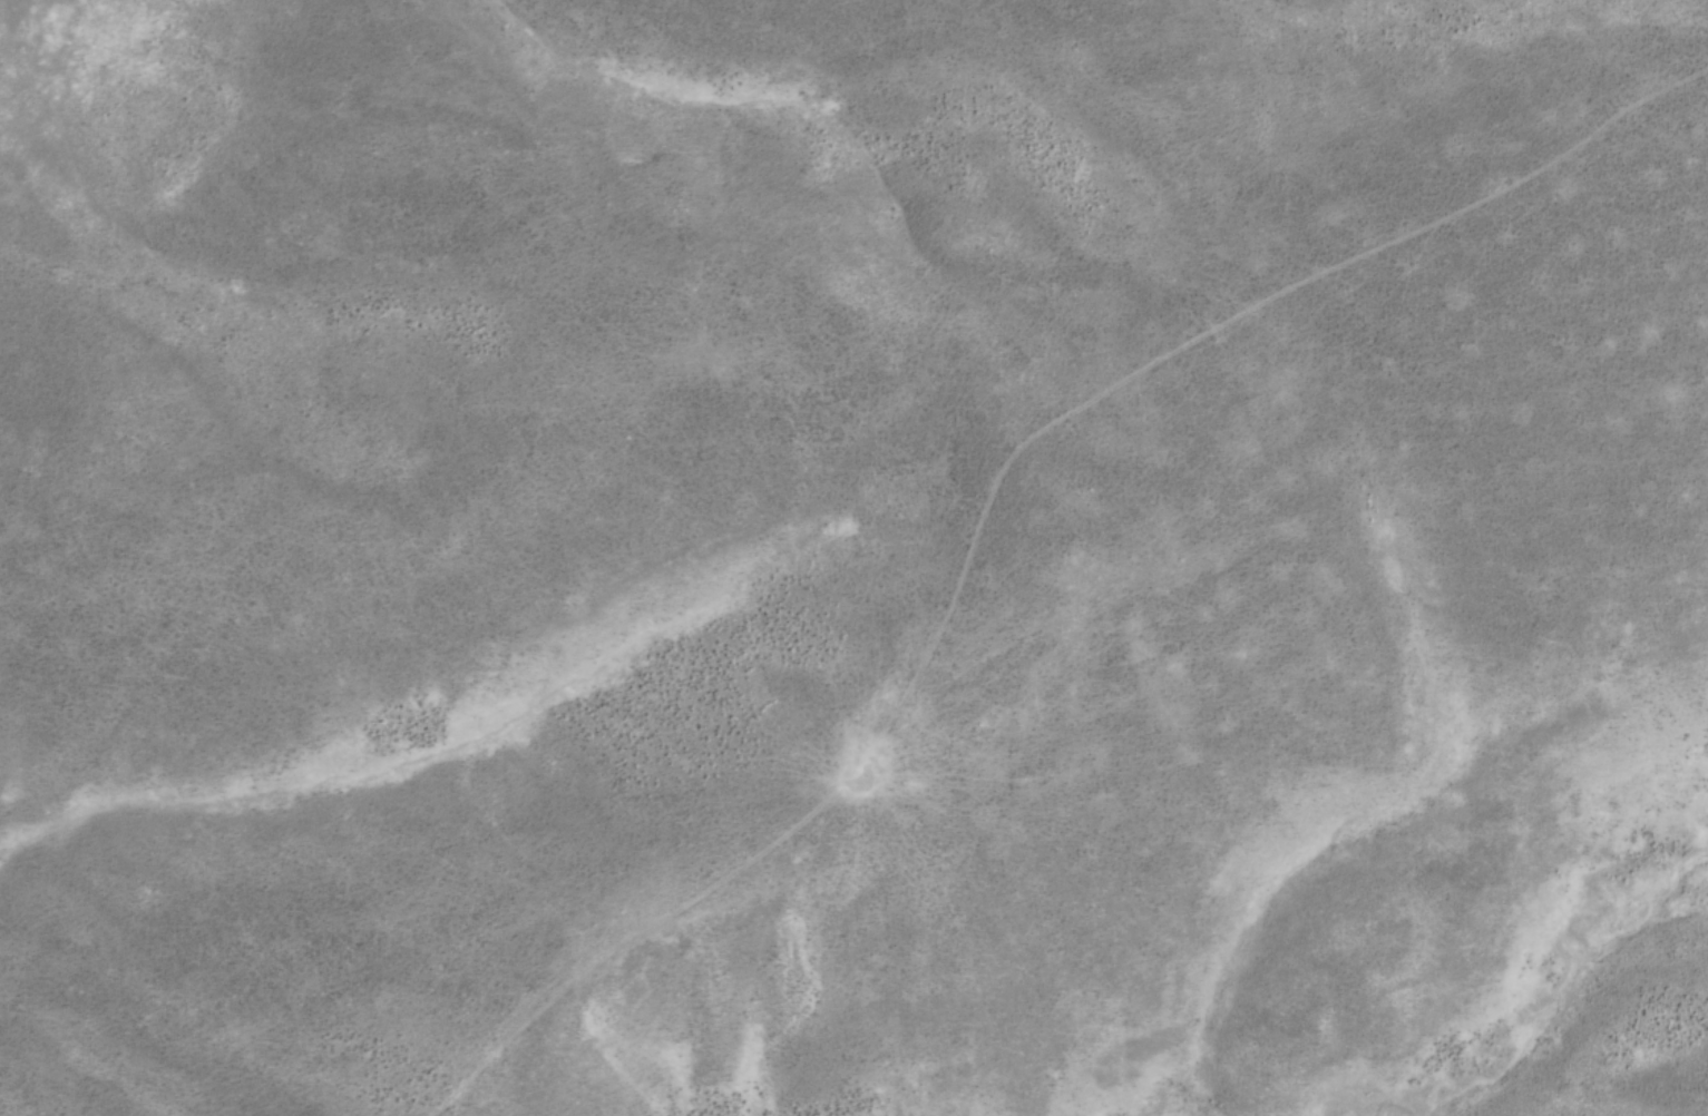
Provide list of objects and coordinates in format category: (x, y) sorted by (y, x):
road: (1011, 537)

